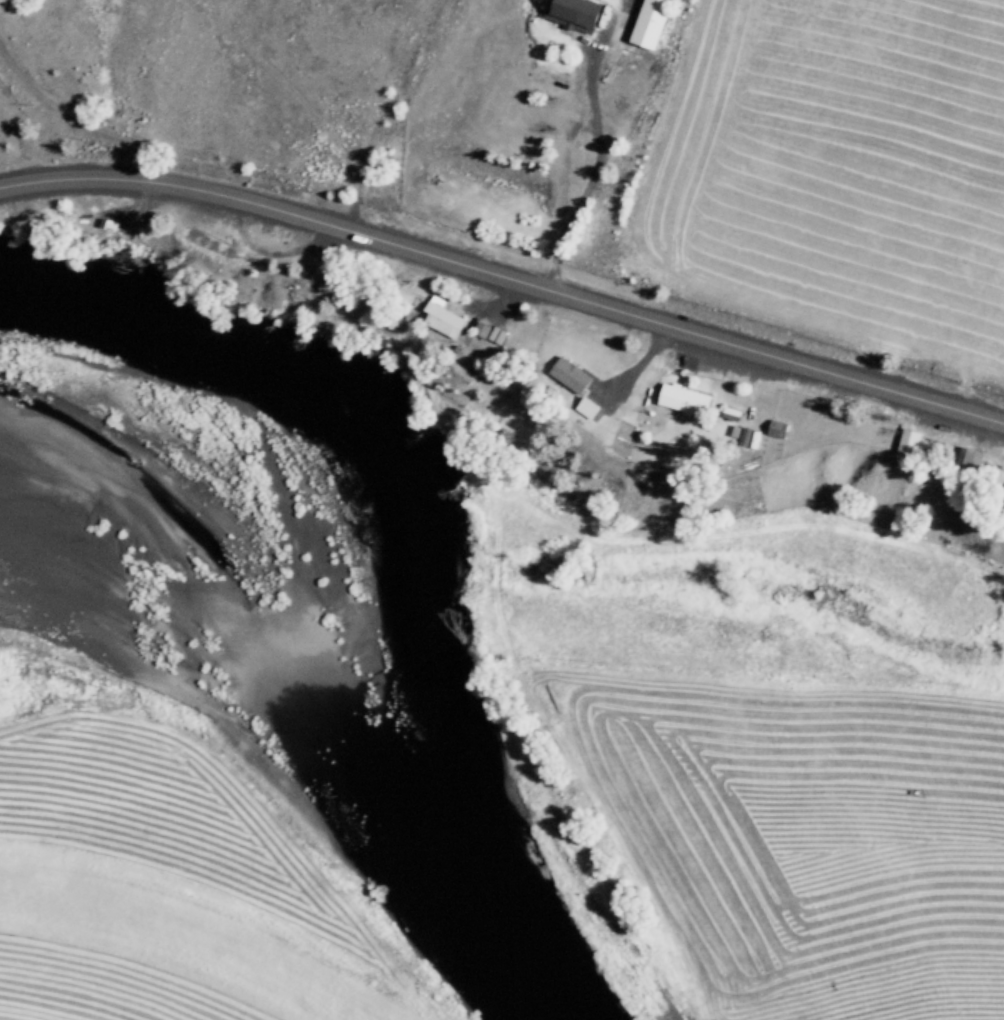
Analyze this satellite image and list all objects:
building: (573, 12)
building: (650, 22)
road: (504, 287)
building: (442, 315)
building: (569, 372)
building: (684, 397)
building: (587, 405)
building: (776, 426)
building: (909, 440)
building: (974, 457)
river: (363, 664)

